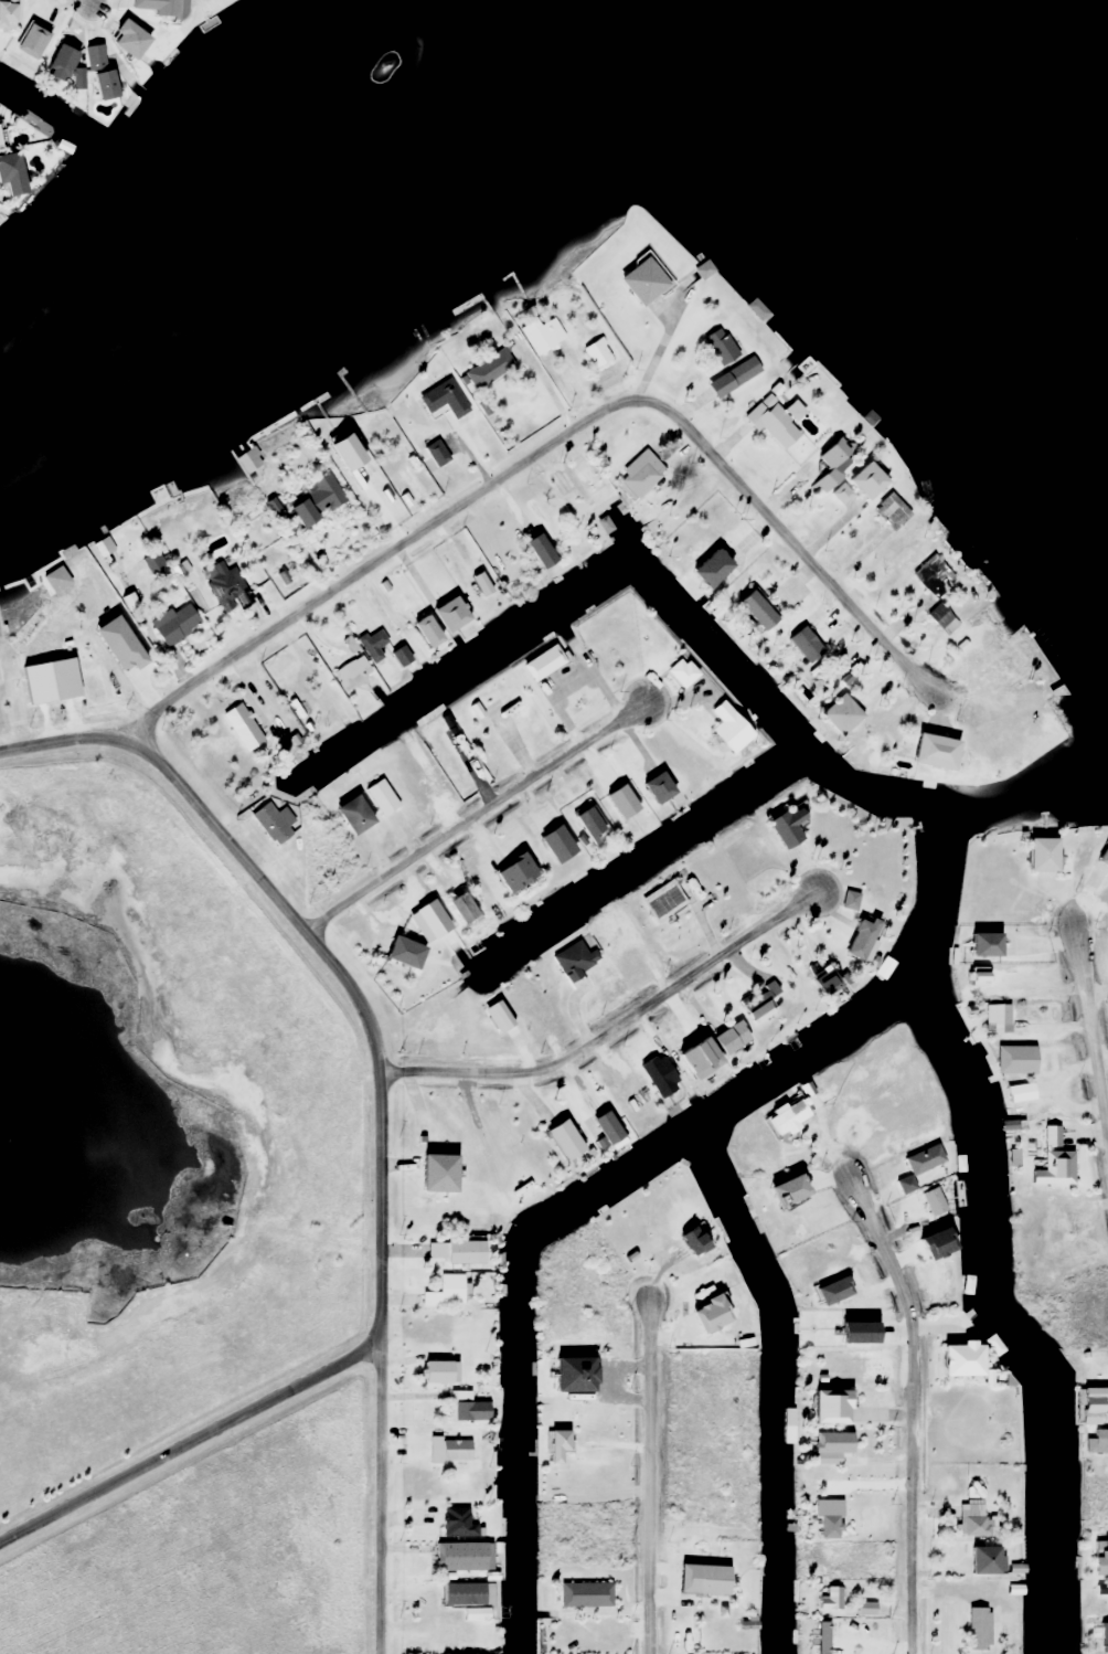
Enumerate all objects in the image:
road: (86, 0)
building: (153, 7)
building: (125, 38)
building: (28, 41)
building: (58, 60)
building: (97, 72)
building: (8, 167)
building: (703, 271)
building: (639, 280)
building: (754, 310)
building: (543, 337)
road: (654, 341)
building: (720, 347)
building: (596, 352)
building: (802, 368)
building: (488, 369)
building: (732, 378)
road: (545, 386)
building: (441, 400)
building: (771, 424)
road: (551, 441)
building: (338, 454)
building: (244, 464)
building: (830, 465)
building: (583, 480)
building: (637, 480)
building: (863, 481)
building: (313, 500)
building: (887, 512)
building: (536, 551)
building: (706, 561)
building: (151, 563)
building: (933, 577)
building: (226, 590)
building: (753, 611)
building: (446, 615)
building: (938, 617)
building: (174, 625)
building: (422, 633)
building: (105, 643)
building: (373, 643)
building: (397, 656)
building: (541, 664)
building: (1003, 670)
building: (351, 674)
building: (679, 674)
building: (841, 709)
building: (491, 717)
building: (245, 728)
building: (725, 729)
building: (930, 752)
building: (654, 788)
building: (380, 797)
building: (618, 803)
building: (350, 815)
road: (471, 817)
building: (271, 823)
building: (586, 824)
building: (782, 827)
building: (553, 845)
building: (1037, 856)
building: (1102, 857)
building: (512, 873)
building: (668, 898)
building: (458, 909)
building: (610, 925)
building: (859, 940)
building: (979, 945)
building: (401, 954)
building: (572, 961)
building: (819, 987)
building: (757, 1004)
building: (995, 1019)
road: (609, 1027)
building: (727, 1039)
road: (1090, 1042)
building: (694, 1054)
building: (1013, 1060)
building: (656, 1075)
road: (375, 1088)
building: (1019, 1093)
building: (786, 1116)
building: (601, 1127)
building: (561, 1138)
building: (920, 1159)
building: (1053, 1162)
building: (433, 1174)
building: (930, 1201)
building: (688, 1240)
building: (429, 1250)
building: (460, 1250)
building: (936, 1282)
building: (448, 1290)
building: (844, 1294)
building: (956, 1359)
building: (437, 1371)
building: (561, 1378)
building: (825, 1406)
building: (1088, 1406)
building: (465, 1408)
road: (907, 1410)
road: (188, 1439)
building: (554, 1440)
building: (829, 1442)
building: (448, 1451)
road: (646, 1480)
building: (970, 1487)
building: (971, 1519)
building: (456, 1523)
building: (828, 1527)
building: (980, 1560)
building: (451, 1561)
building: (1098, 1562)
building: (706, 1579)
building: (462, 1594)
building: (583, 1594)
building: (831, 1600)
building: (977, 1629)
building: (1101, 1633)
building: (451, 1639)

